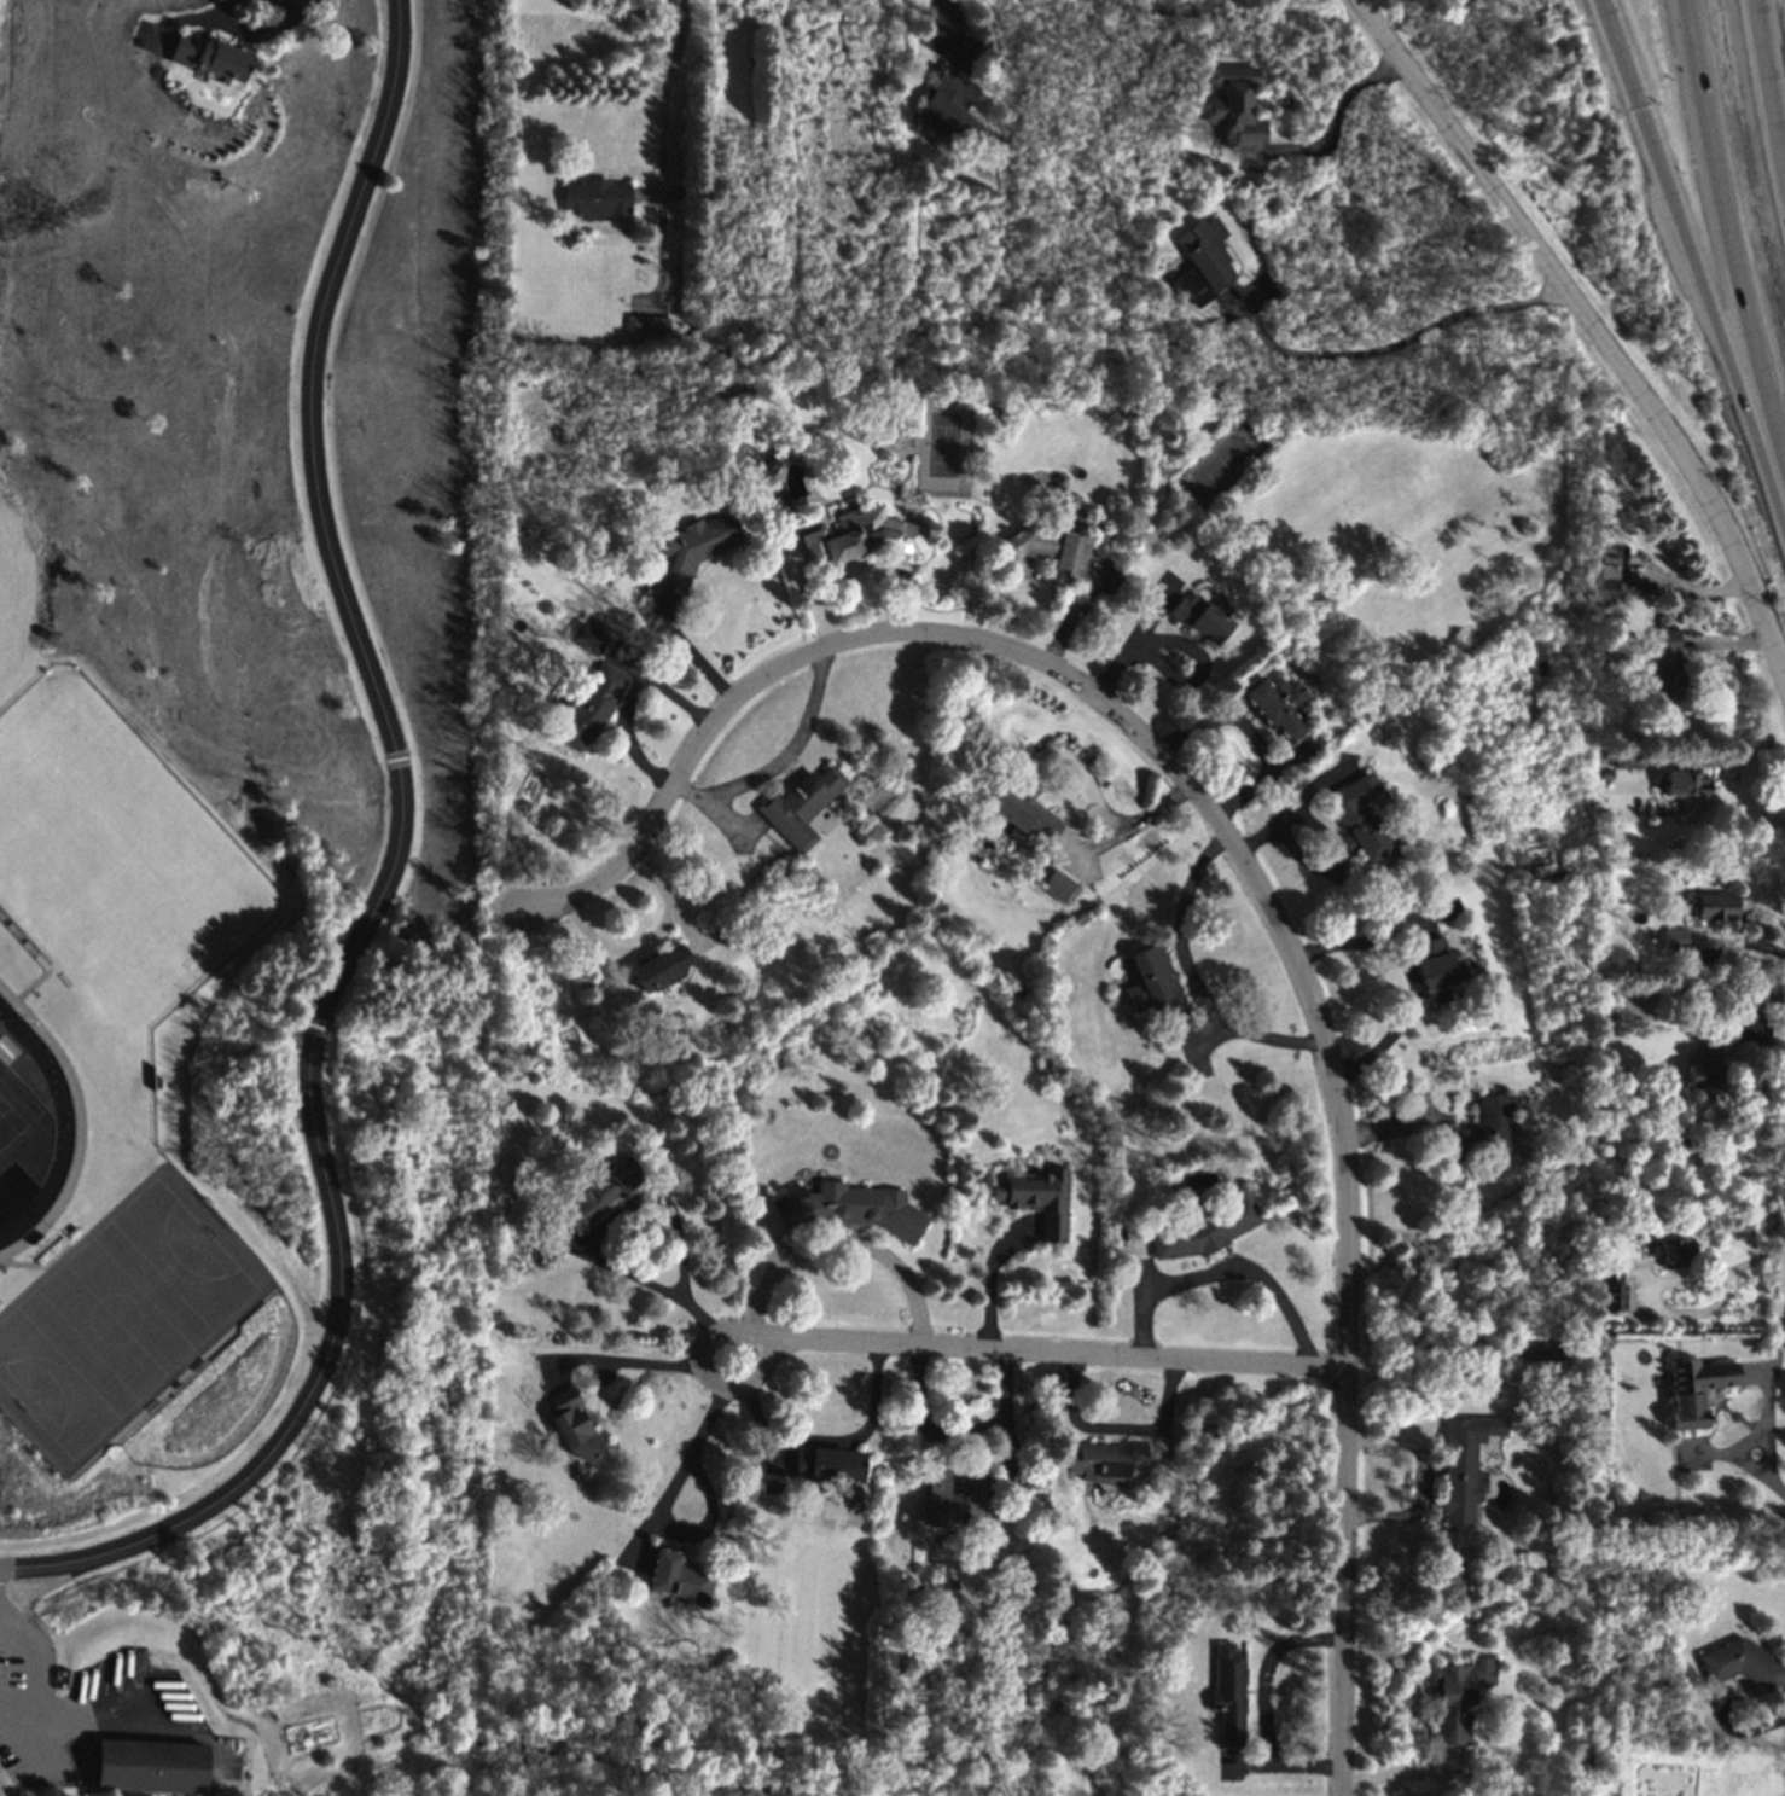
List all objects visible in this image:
road: (284, 5)
road: (297, 5)
road: (941, 17)
road: (245, 34)
road: (1777, 52)
building: (209, 59)
building: (952, 91)
road: (664, 97)
building: (1237, 105)
road: (1333, 127)
building: (597, 200)
road: (1723, 244)
building: (1200, 262)
building: (646, 324)
road: (1594, 329)
road: (1395, 348)
building: (1207, 350)
park: (941, 442)
park: (1222, 461)
building: (769, 466)
building: (1058, 481)
building: (861, 537)
building: (1048, 547)
building: (694, 548)
building: (1606, 582)
building: (1200, 617)
building: (586, 638)
road: (698, 658)
building: (1668, 663)
road: (806, 668)
road: (626, 697)
building: (588, 707)
building: (1277, 707)
road: (783, 756)
building: (1627, 760)
road: (1716, 763)
building: (1600, 766)
building: (1686, 783)
building: (800, 806)
building: (1022, 813)
building: (1357, 819)
road: (1132, 823)
park: (107, 855)
building: (780, 874)
road: (383, 883)
building: (1058, 885)
building: (1715, 906)
building: (720, 928)
building: (1675, 938)
road: (647, 941)
road: (1745, 947)
building: (659, 967)
building: (1437, 967)
building: (1629, 972)
road: (1409, 976)
road: (1194, 981)
building: (1157, 988)
building: (1777, 993)
building: (1755, 995)
building: (1703, 1075)
road: (1758, 1099)
park: (13, 1105)
park: (8, 1121)
track: (63, 1123)
building: (1481, 1131)
building: (603, 1192)
building: (1037, 1198)
building: (1639, 1204)
road: (638, 1205)
building: (849, 1208)
building: (1204, 1230)
building: (543, 1242)
road: (845, 1246)
building: (1675, 1251)
road: (1351, 1254)
road: (1766, 1256)
road: (1223, 1274)
building: (1611, 1274)
road: (990, 1279)
road: (1652, 1310)
park: (116, 1318)
road: (1052, 1356)
road: (629, 1364)
road: (702, 1370)
building: (1493, 1371)
building: (1694, 1388)
road: (1115, 1425)
building: (572, 1426)
road: (959, 1434)
road: (1766, 1434)
building: (1104, 1460)
building: (828, 1465)
building: (1458, 1481)
building: (954, 1493)
road: (659, 1511)
building: (678, 1579)
road: (11, 1622)
road: (11, 1632)
building: (1743, 1663)
road: (33, 1690)
building: (1228, 1695)
building: (1459, 1698)
road: (1264, 1707)
parking lot: (80, 1709)
road: (1413, 1720)
building: (1176, 1734)
building: (151, 1766)
building: (134, 1795)

